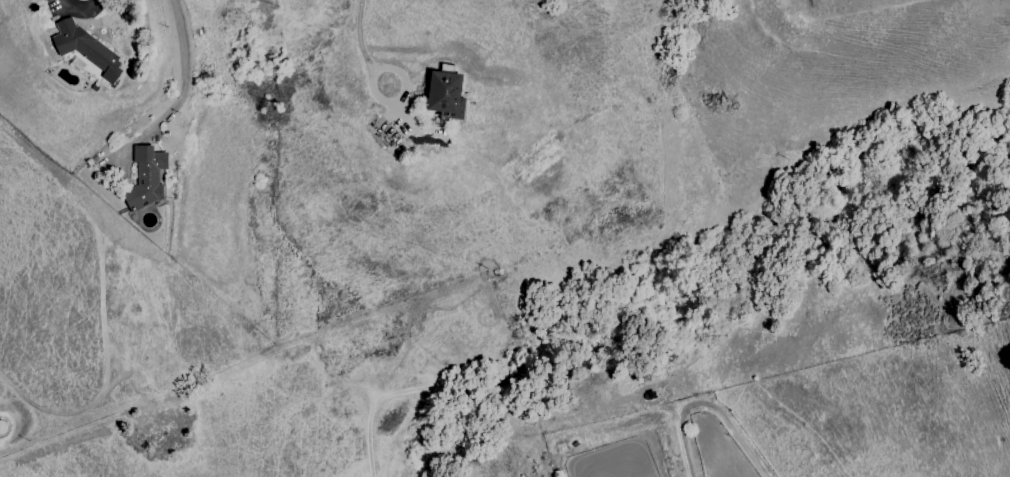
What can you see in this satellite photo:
road: (80, 6)
road: (360, 37)
building: (85, 49)
road: (183, 63)
road: (374, 71)
building: (445, 94)
building: (146, 177)

